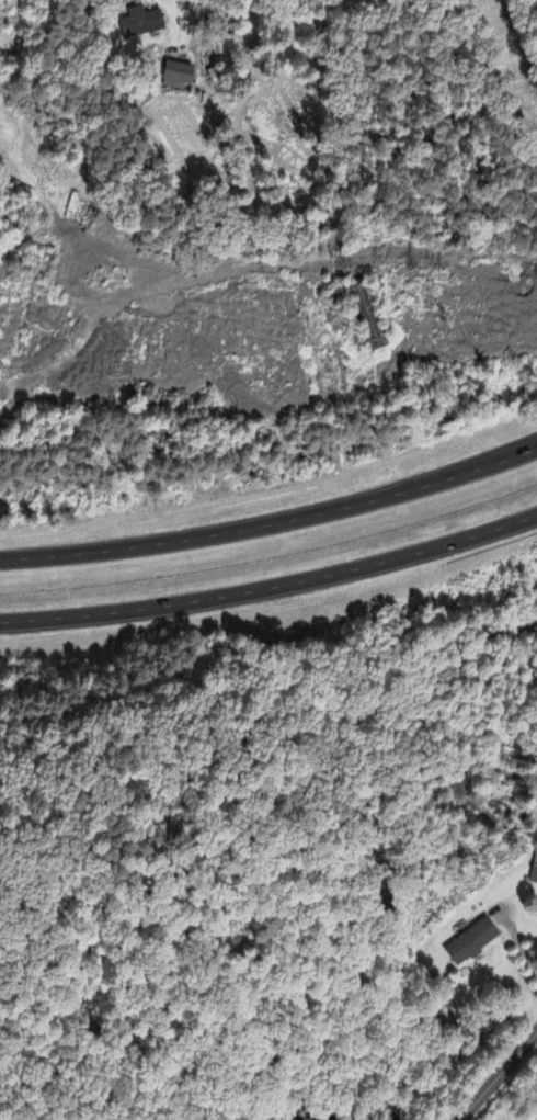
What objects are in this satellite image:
building: (142, 24)
road: (193, 25)
building: (178, 78)
road: (305, 264)
road: (272, 518)
road: (272, 587)
building: (534, 875)
building: (472, 943)
road: (496, 1072)

